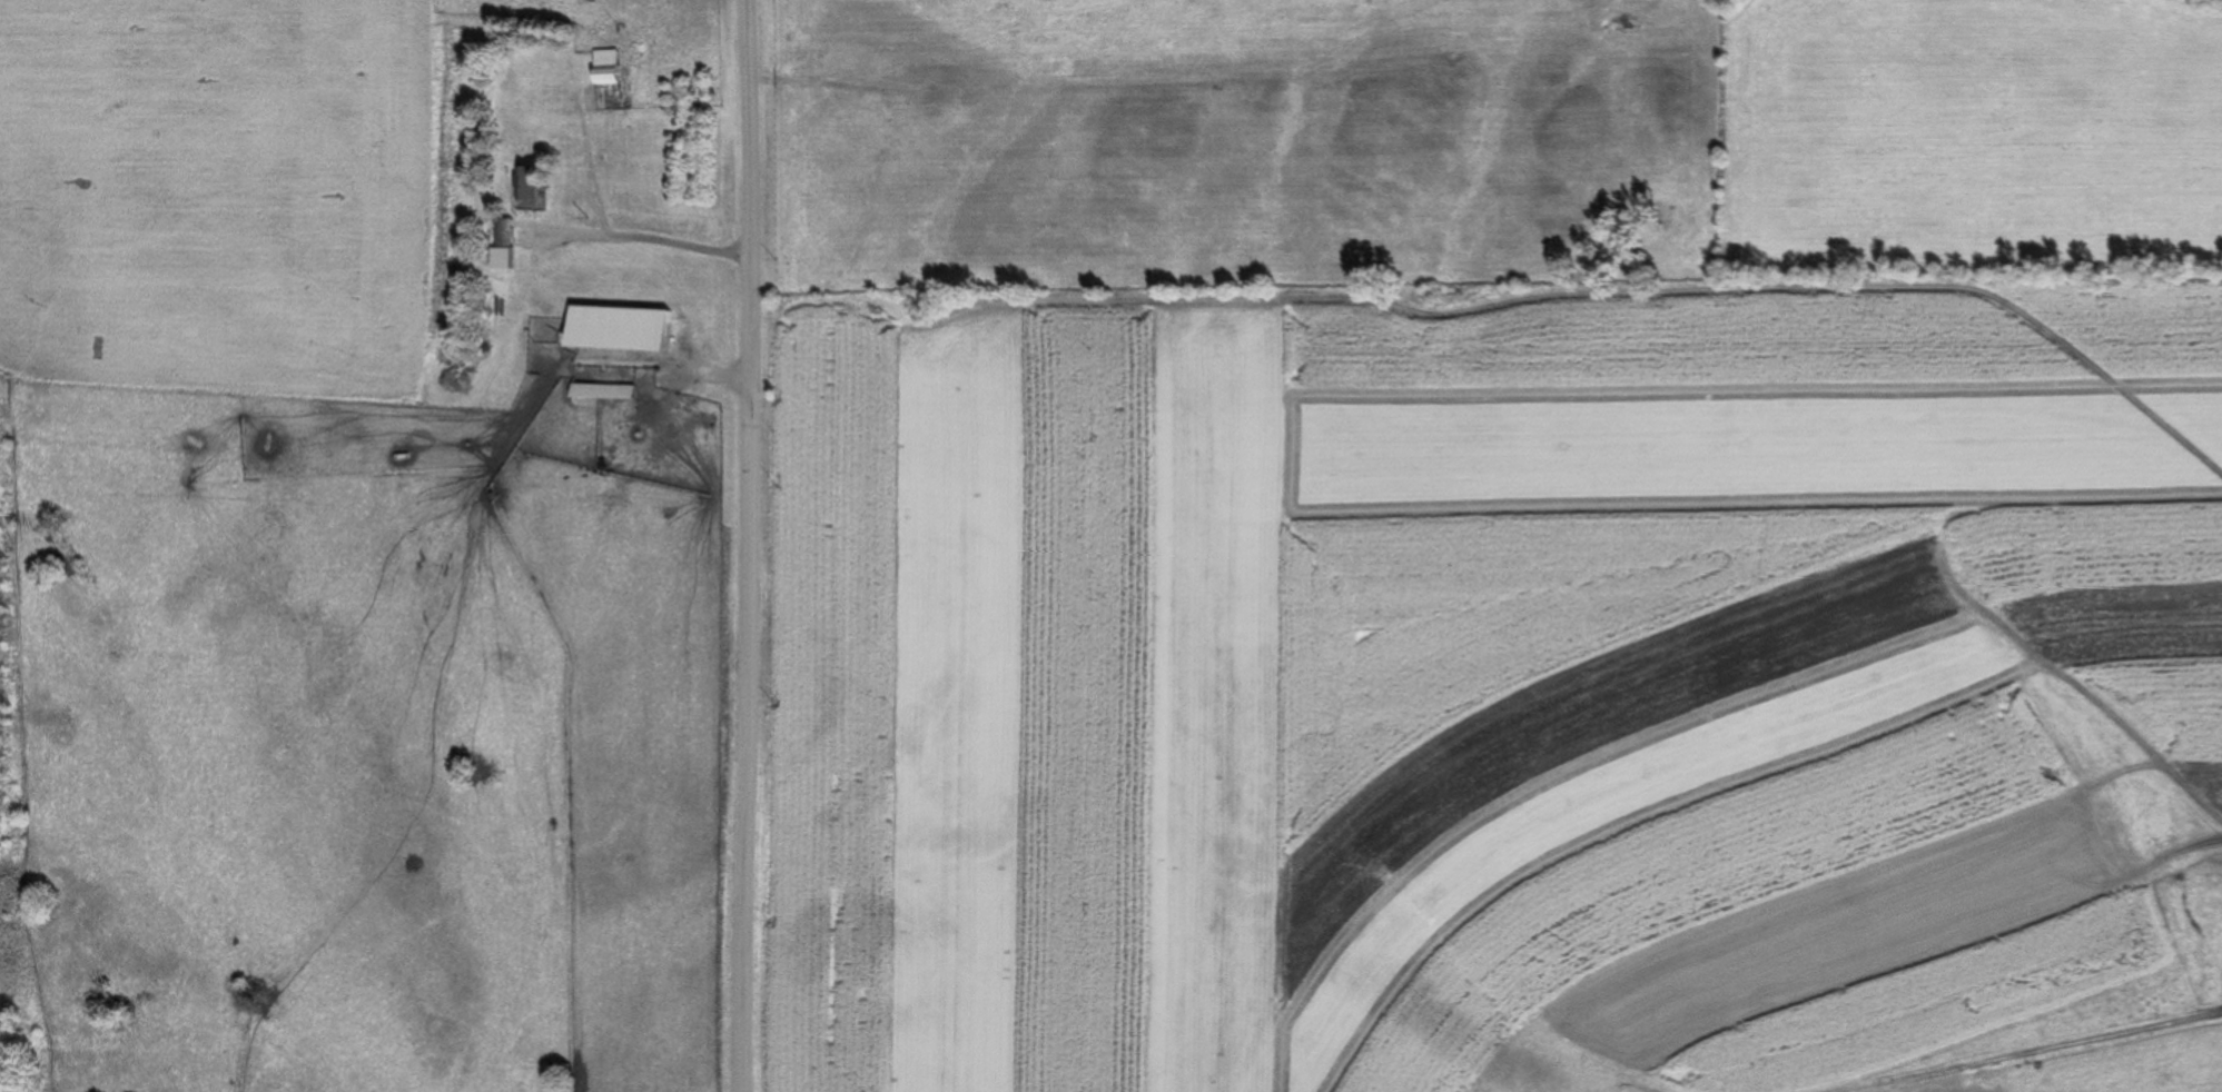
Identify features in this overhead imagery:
building: (611, 68)
building: (530, 186)
building: (652, 295)
building: (604, 335)
building: (669, 344)
road: (753, 546)

